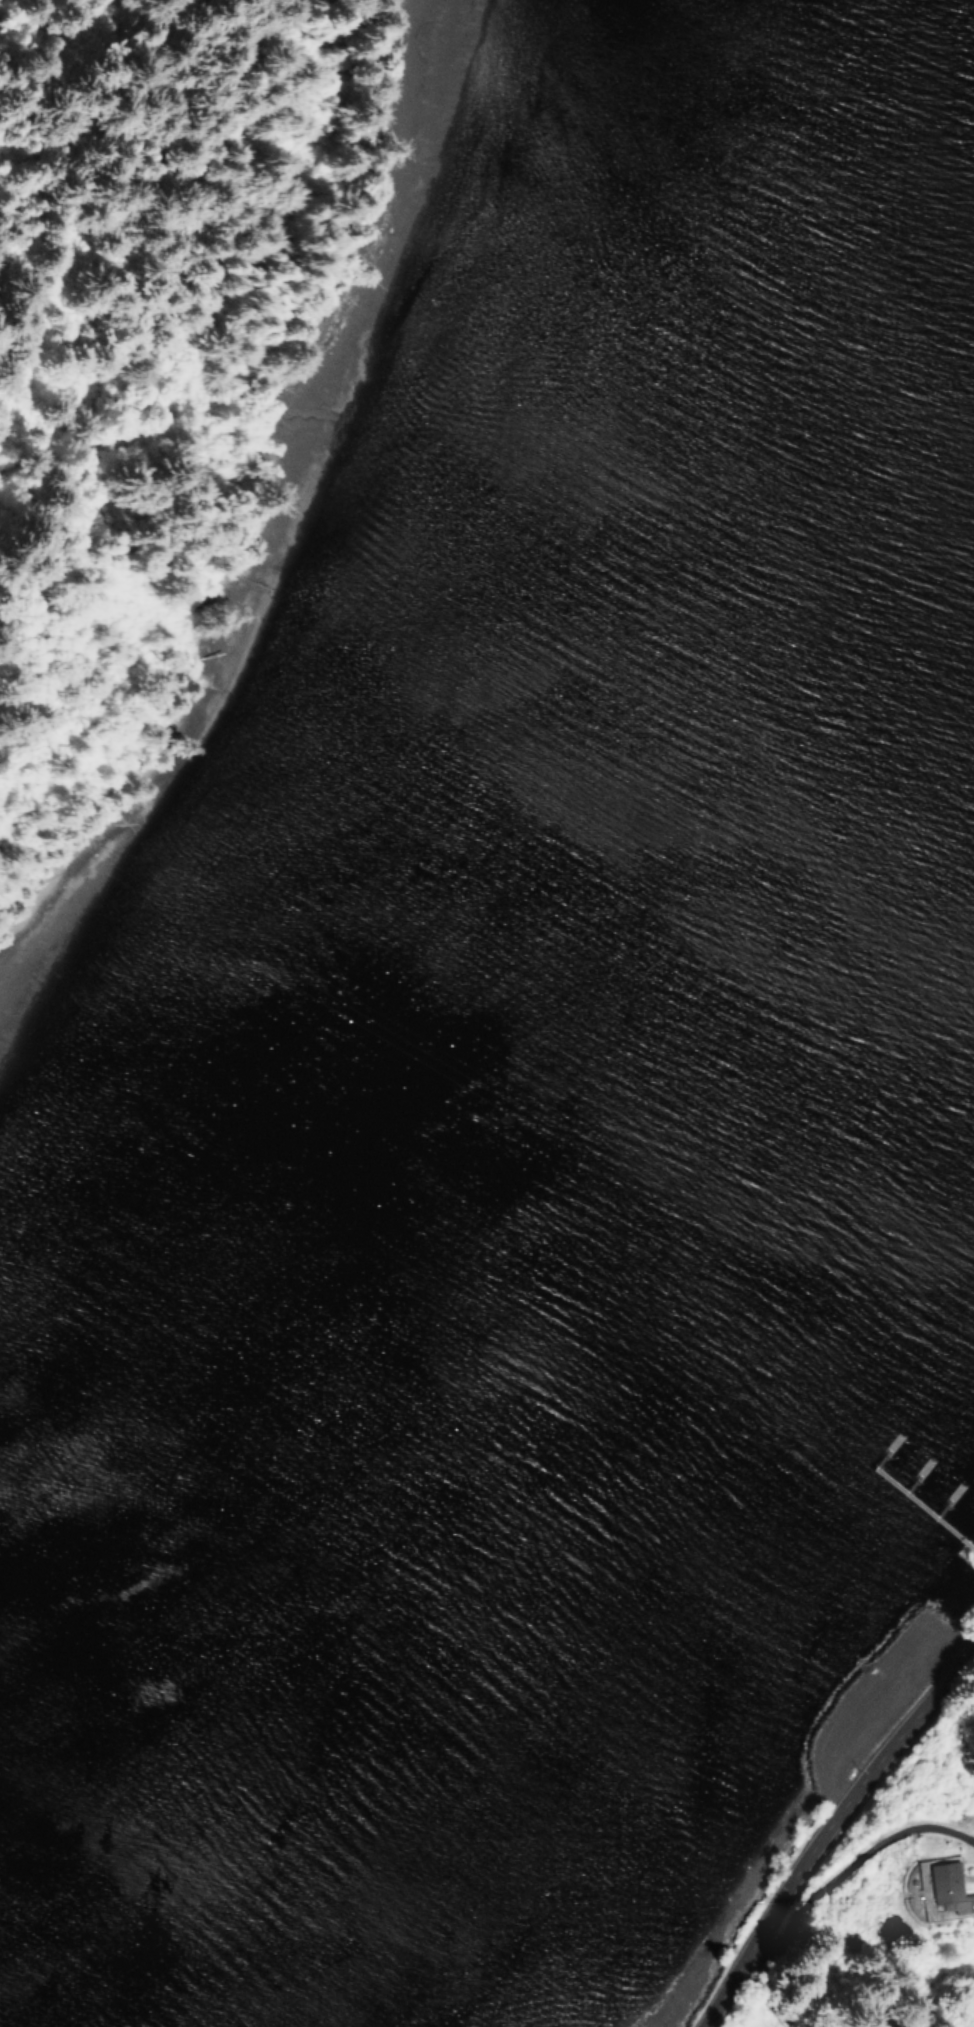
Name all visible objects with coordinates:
river: (585, 1210)
road: (823, 1830)

